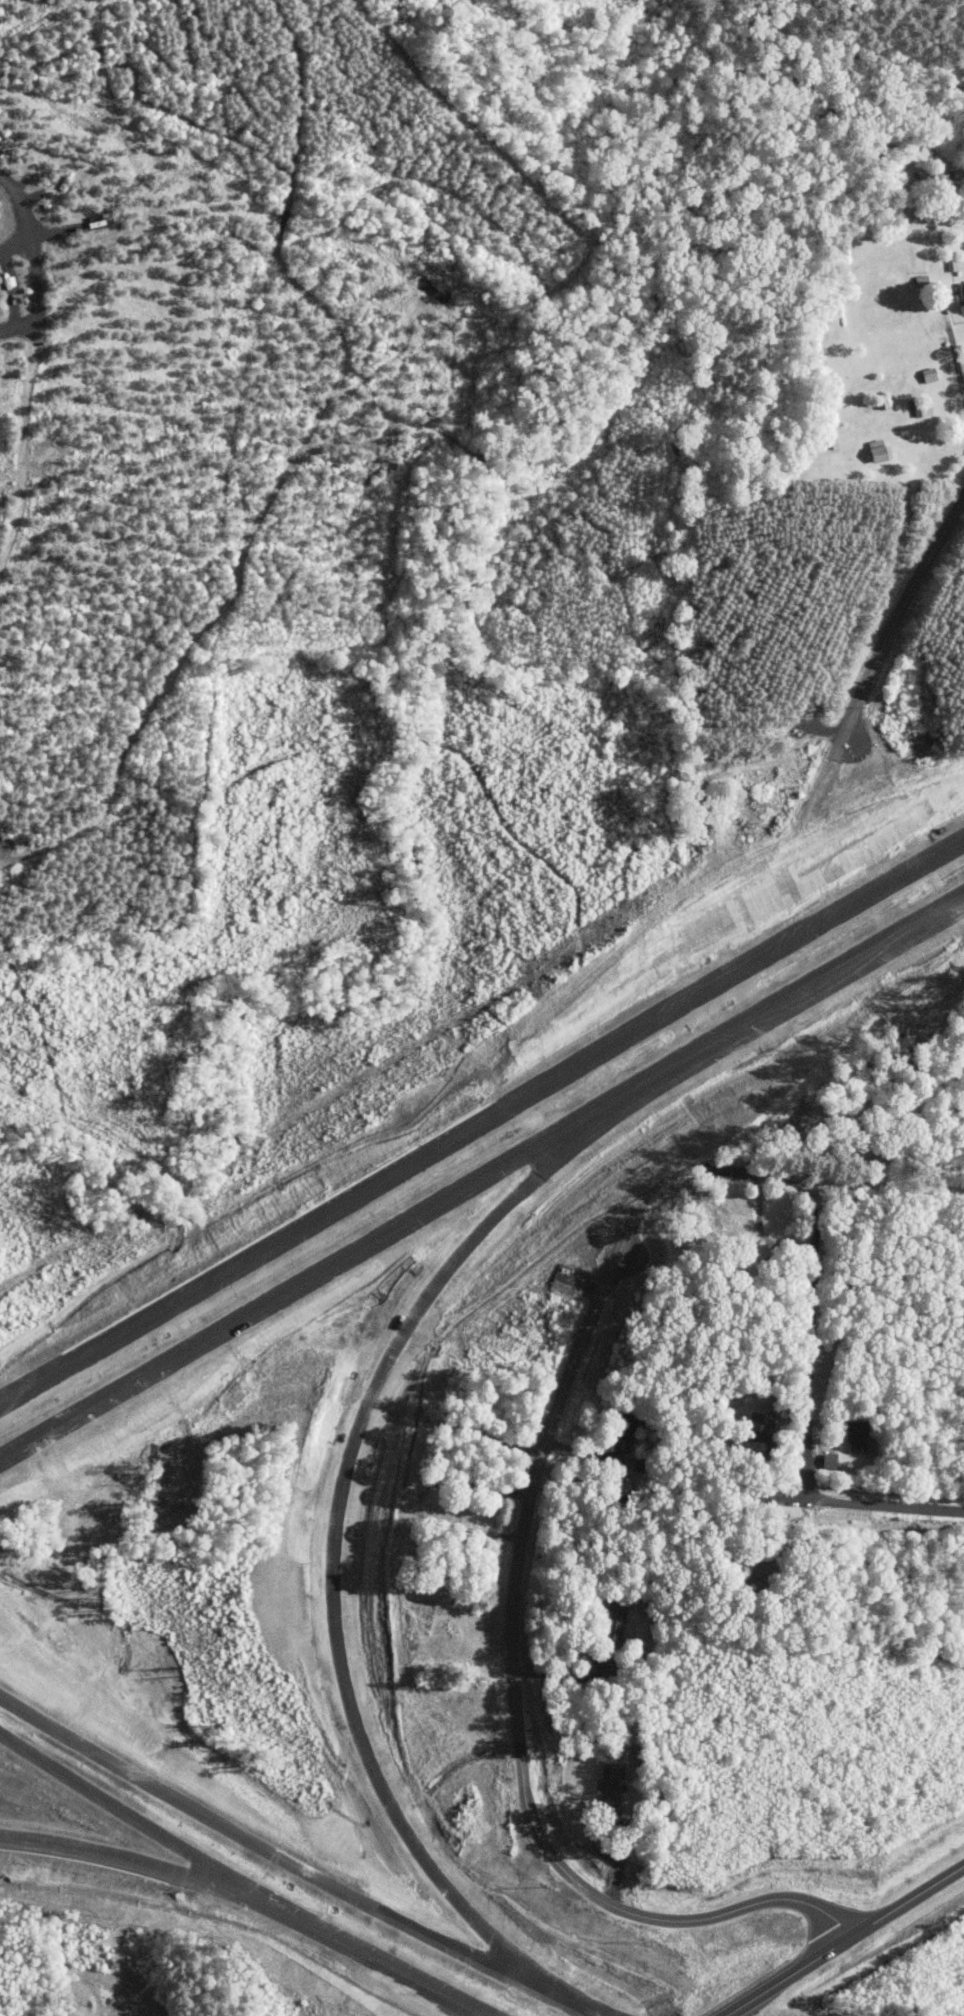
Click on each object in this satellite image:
road: (14, 245)
road: (35, 260)
building: (962, 291)
road: (953, 347)
building: (932, 374)
building: (881, 449)
road: (896, 616)
road: (841, 964)
road: (482, 1123)
road: (359, 1245)
road: (808, 1383)
building: (861, 1439)
building: (832, 1460)
road: (872, 1504)
road: (340, 1505)
building: (613, 1618)
road: (567, 1679)
road: (516, 1709)
building: (608, 1781)
road: (167, 1837)
road: (291, 1863)
road: (173, 1870)
road: (620, 1870)
road: (906, 1903)
road: (419, 1975)
road: (787, 1978)

